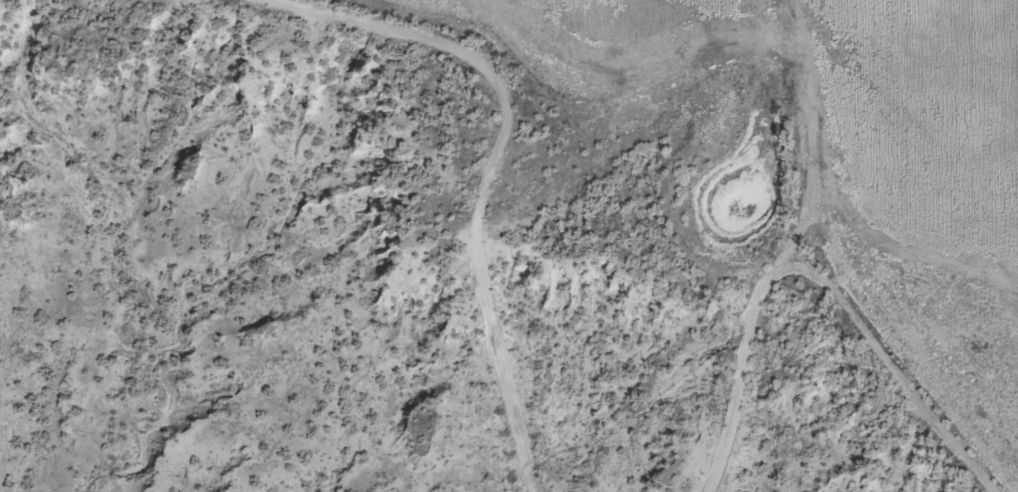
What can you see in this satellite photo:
road: (769, 247)

